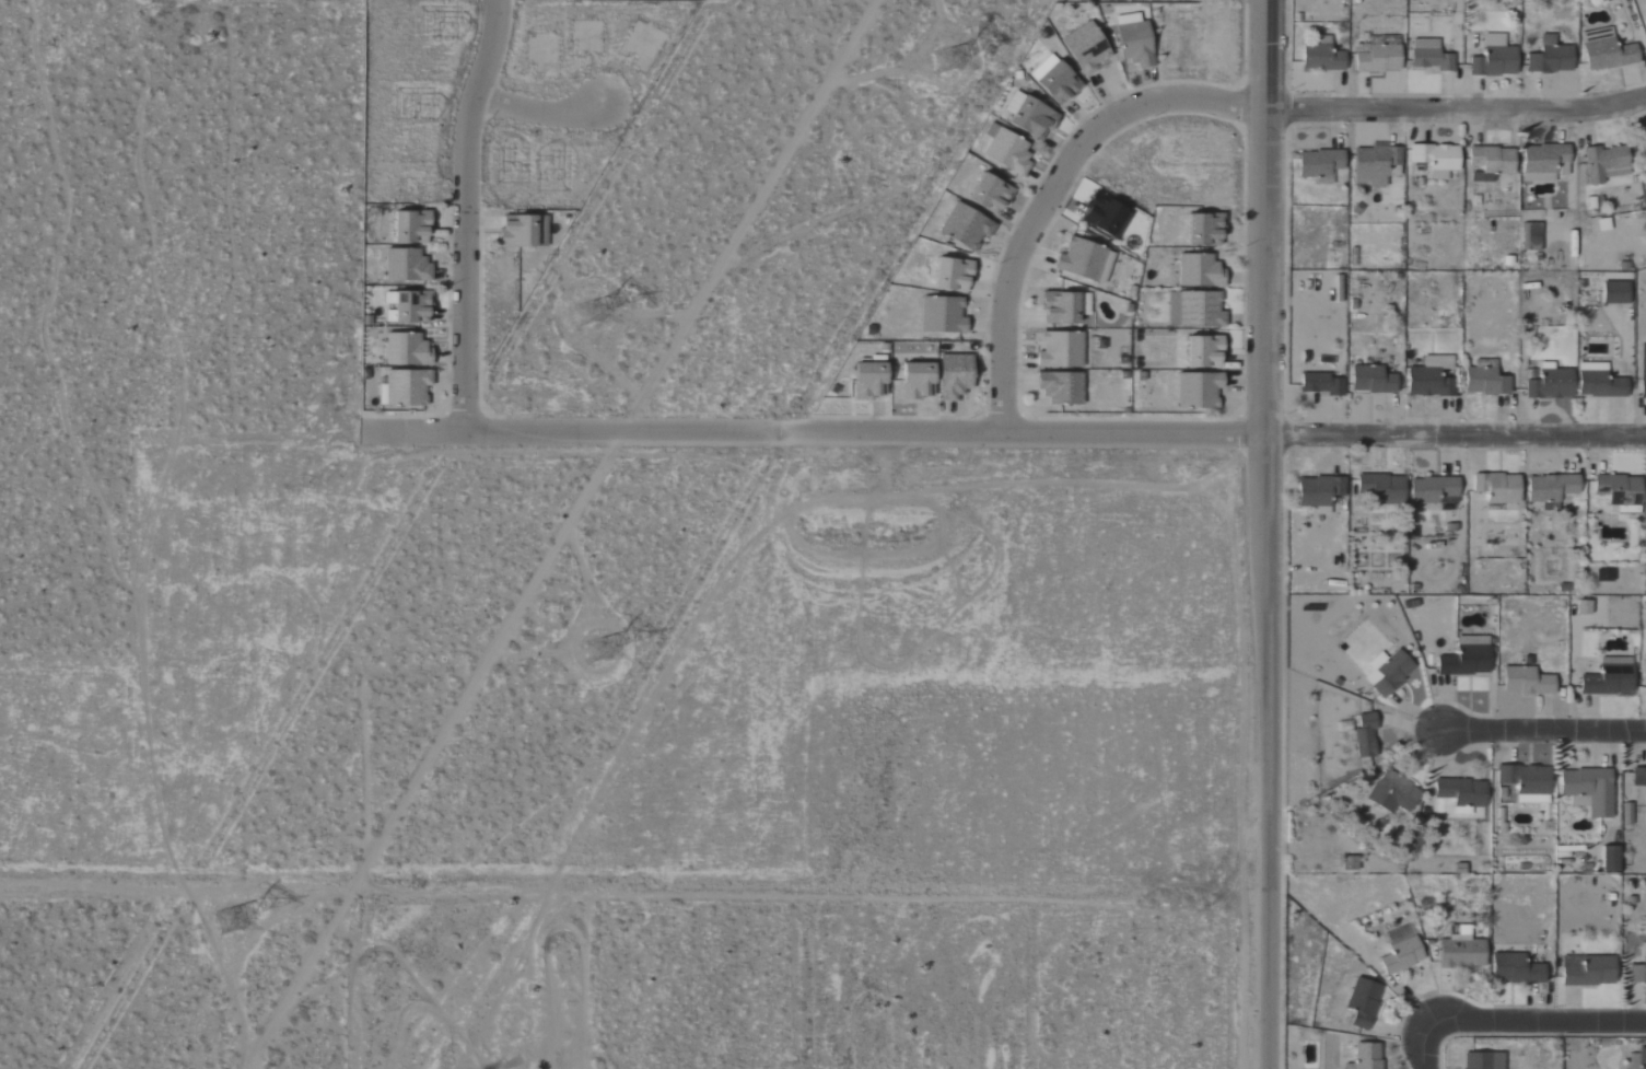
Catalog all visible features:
building: (1133, 42)
building: (1086, 50)
building: (1606, 51)
power tower: (954, 53)
building: (1429, 56)
building: (1321, 57)
building: (1550, 58)
building: (1377, 59)
building: (1495, 59)
building: (1058, 84)
building: (1013, 103)
road: (539, 112)
road: (1456, 112)
building: (1032, 119)
building: (1643, 147)
building: (1006, 151)
building: (1437, 159)
building: (1542, 161)
building: (1603, 162)
building: (1319, 163)
building: (1491, 163)
building: (1374, 164)
road: (1052, 190)
building: (989, 194)
road: (466, 213)
building: (1106, 214)
building: (410, 226)
building: (965, 228)
building: (1203, 229)
building: (523, 231)
building: (1531, 236)
building: (1081, 259)
building: (406, 266)
building: (1199, 271)
building: (953, 275)
building: (1615, 292)
building: (411, 306)
building: (1059, 307)
building: (1194, 309)
power tower: (593, 315)
building: (942, 315)
building: (406, 350)
building: (1060, 350)
building: (1203, 351)
building: (1643, 372)
building: (954, 376)
building: (1431, 377)
building: (868, 380)
building: (1371, 380)
building: (917, 381)
building: (1485, 381)
building: (1599, 382)
building: (1550, 383)
building: (1321, 384)
building: (406, 387)
building: (1060, 387)
building: (1198, 390)
road: (826, 432)
road: (1455, 434)
building: (1382, 488)
building: (1498, 488)
building: (1551, 488)
building: (1434, 491)
building: (1619, 491)
building: (1319, 492)
road: (562, 534)
road: (1264, 534)
building: (1584, 608)
power tower: (607, 641)
building: (1466, 658)
building: (1388, 672)
building: (1609, 678)
building: (1526, 682)
building: (1645, 693)
road: (1542, 731)
building: (1365, 736)
building: (1638, 777)
building: (1524, 785)
building: (1588, 791)
building: (1392, 793)
building: (1461, 794)
building: (1350, 863)
road: (92, 885)
road: (727, 890)
power tower: (242, 917)
building: (1401, 951)
building: (1461, 951)
building: (1516, 969)
building: (1638, 971)
building: (1588, 972)
building: (1363, 1002)
road: (1537, 1021)
road: (1427, 1045)
building: (1366, 1057)
building: (1637, 1059)
building: (1482, 1060)

